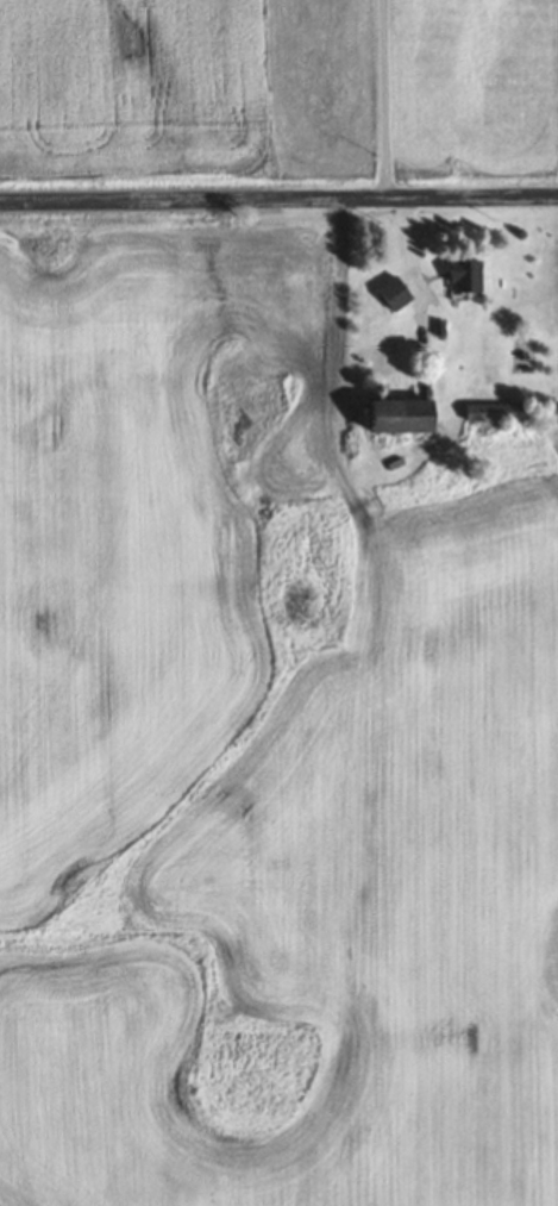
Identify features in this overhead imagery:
road: (278, 202)
building: (500, 271)
building: (464, 275)
building: (393, 294)
building: (495, 411)
building: (399, 415)

